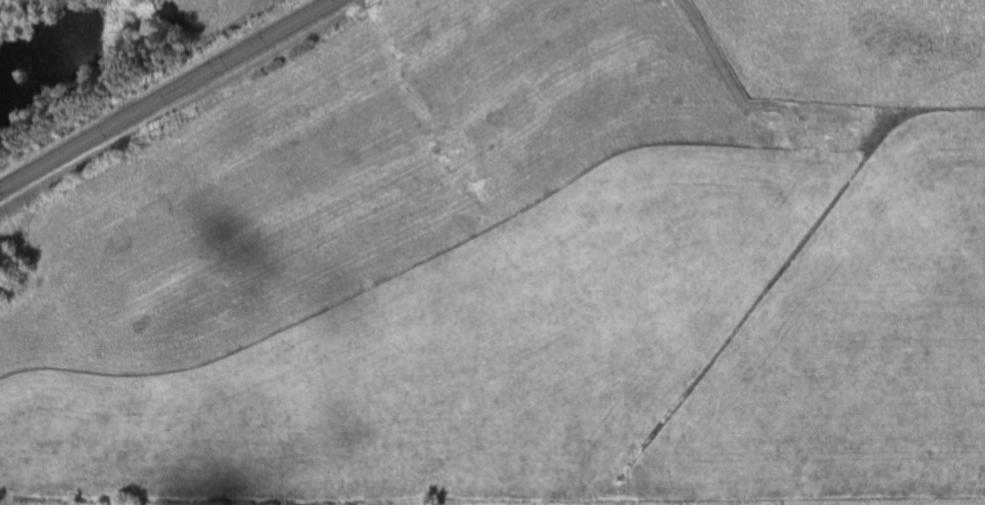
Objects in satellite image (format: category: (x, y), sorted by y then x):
road: (178, 103)

